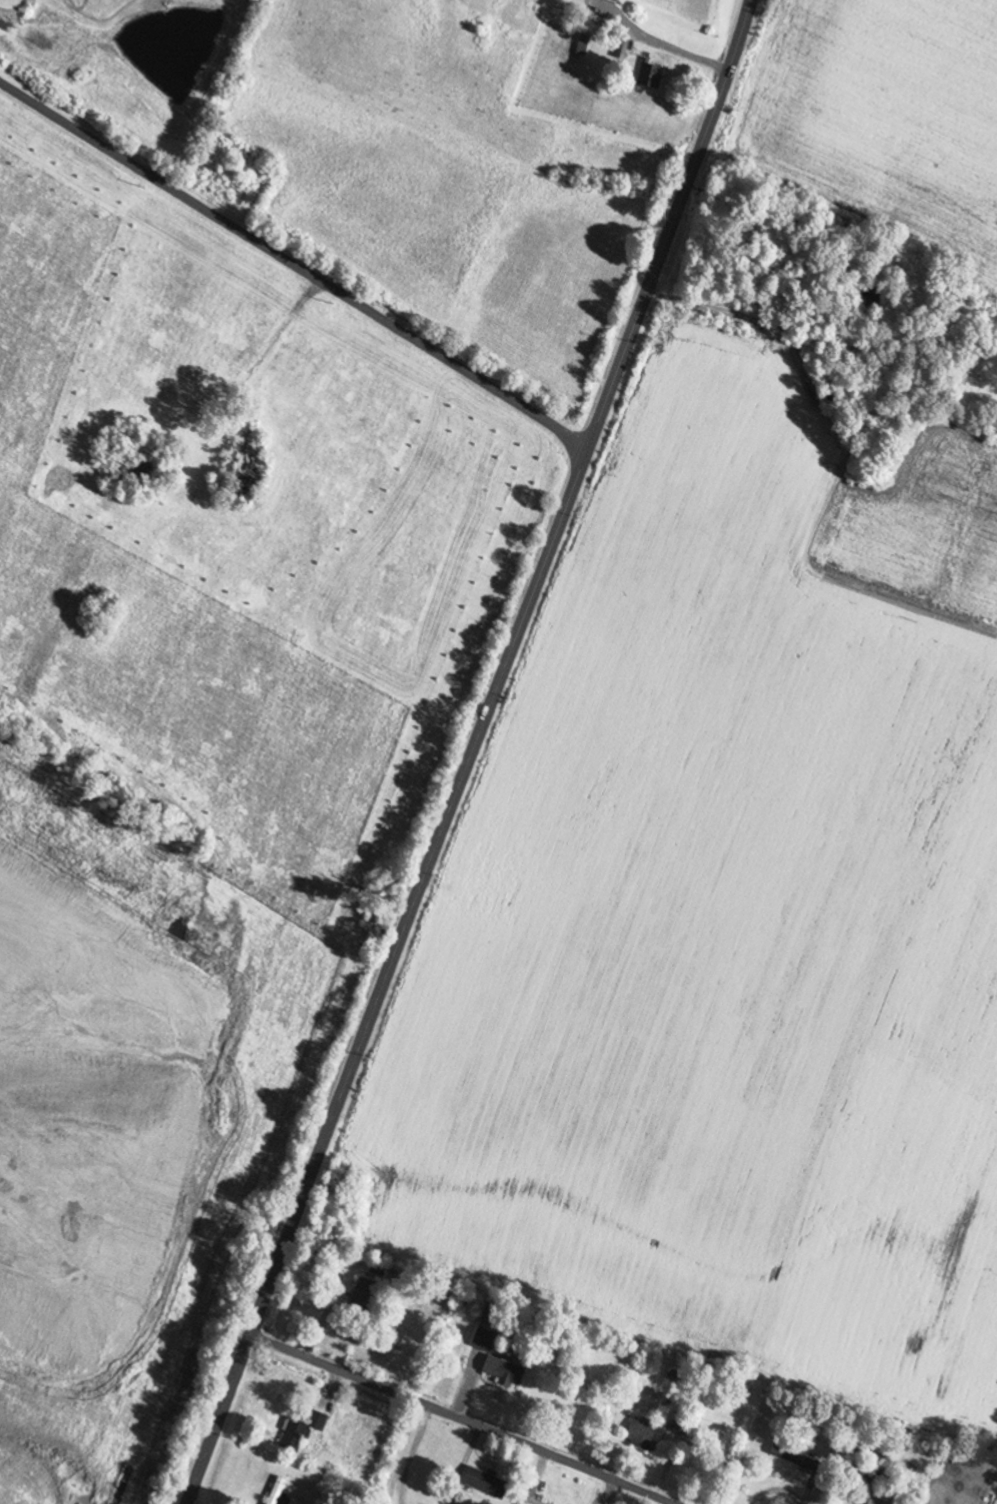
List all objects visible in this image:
road: (294, 262)
road: (468, 752)
road: (465, 1417)
road: (362, 1441)

